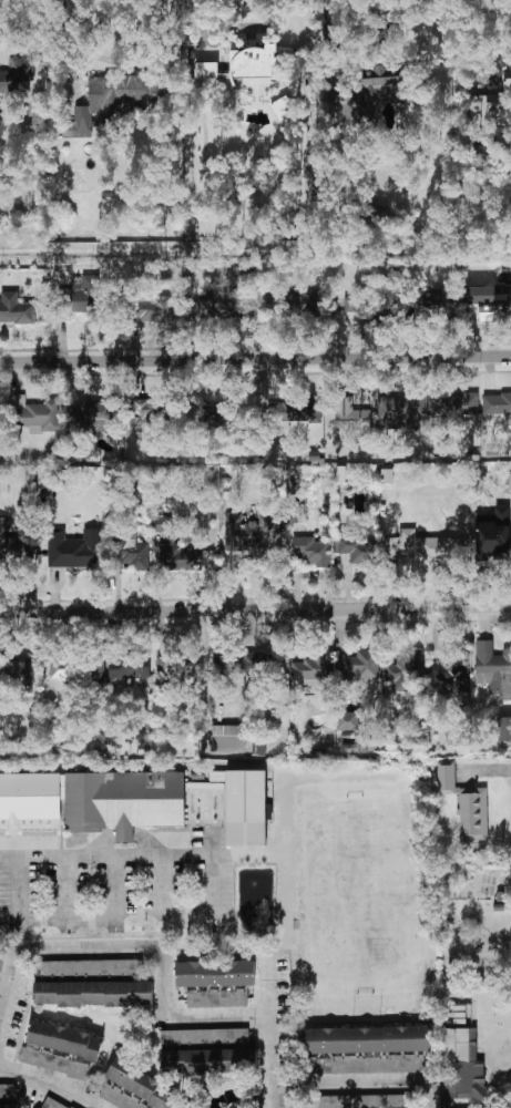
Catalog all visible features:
road: (235, 28)
road: (326, 59)
road: (121, 61)
building: (253, 65)
building: (206, 71)
building: (507, 75)
building: (10, 81)
building: (112, 102)
building: (284, 109)
building: (486, 110)
building: (86, 294)
building: (306, 299)
building: (276, 300)
building: (225, 301)
building: (438, 302)
building: (490, 304)
building: (354, 306)
building: (16, 309)
building: (154, 309)
road: (255, 361)
building: (19, 401)
building: (497, 403)
building: (453, 404)
building: (295, 411)
building: (401, 411)
building: (151, 412)
building: (351, 416)
building: (91, 417)
building: (207, 417)
building: (42, 418)
building: (491, 529)
building: (247, 532)
building: (13, 546)
building: (423, 547)
building: (75, 550)
building: (176, 550)
building: (358, 551)
building: (311, 552)
building: (134, 554)
road: (255, 611)
building: (359, 666)
building: (405, 666)
building: (129, 667)
building: (173, 667)
building: (249, 667)
building: (493, 668)
building: (78, 669)
building: (452, 669)
building: (313, 671)
building: (13, 674)
building: (348, 721)
building: (504, 732)
building: (227, 739)
road: (502, 767)
building: (95, 800)
building: (466, 804)
building: (245, 808)
road: (212, 843)
road: (132, 855)
road: (132, 950)
building: (0, 964)
building: (88, 968)
building: (216, 983)
building: (93, 994)
road: (270, 1036)
building: (204, 1037)
building: (64, 1039)
building: (368, 1049)
building: (55, 1061)
building: (208, 1061)
building: (462, 1065)
road: (49, 1084)
road: (360, 1084)
building: (135, 1089)
building: (8, 1090)
building: (367, 1101)
building: (52, 1104)
building: (8, 1106)

